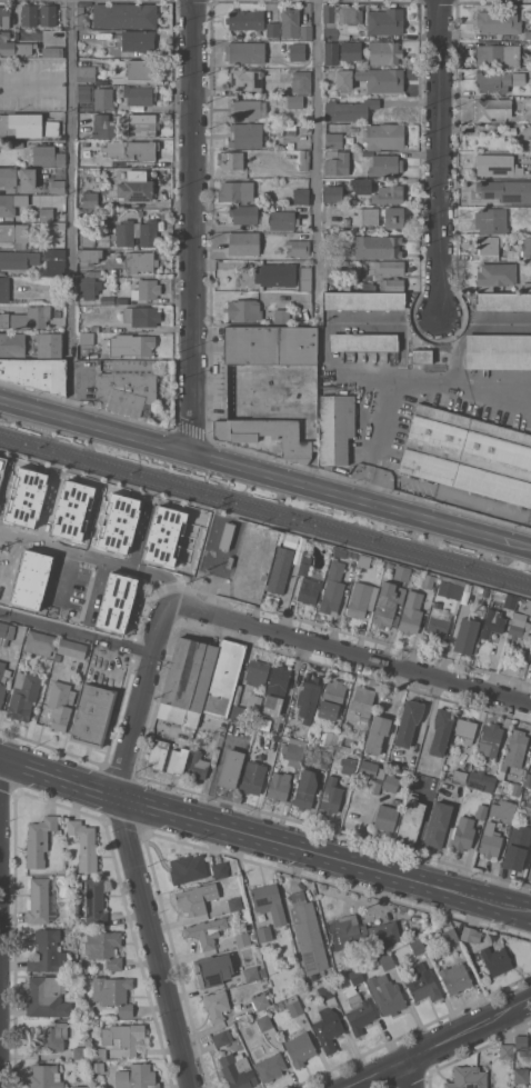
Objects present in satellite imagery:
building: (29, 14)
building: (48, 14)
building: (124, 14)
building: (4, 16)
building: (530, 18)
building: (340, 19)
building: (246, 20)
building: (385, 21)
building: (499, 21)
building: (290, 22)
building: (272, 29)
building: (305, 31)
building: (528, 34)
building: (138, 40)
building: (12, 44)
building: (350, 50)
building: (51, 51)
building: (244, 51)
building: (297, 51)
building: (331, 52)
building: (384, 52)
building: (495, 53)
building: (141, 69)
building: (86, 73)
building: (244, 79)
building: (372, 79)
building: (101, 81)
building: (301, 81)
building: (493, 81)
building: (86, 92)
building: (139, 94)
building: (103, 99)
building: (293, 100)
building: (492, 108)
building: (248, 109)
building: (349, 109)
building: (27, 124)
building: (142, 124)
building: (104, 126)
road: (315, 129)
building: (246, 134)
building: (384, 136)
building: (333, 140)
building: (86, 142)
building: (17, 143)
building: (131, 149)
building: (48, 156)
building: (230, 159)
road: (441, 159)
building: (304, 160)
building: (337, 162)
building: (385, 164)
building: (494, 164)
building: (8, 178)
building: (58, 186)
building: (361, 186)
building: (236, 190)
building: (505, 190)
building: (332, 193)
building: (389, 193)
building: (122, 194)
building: (301, 196)
building: (11, 204)
road: (70, 210)
building: (46, 213)
building: (244, 213)
building: (365, 217)
building: (393, 217)
building: (282, 220)
building: (491, 220)
building: (347, 221)
road: (194, 229)
building: (7, 232)
building: (148, 232)
building: (124, 234)
building: (304, 236)
building: (87, 240)
building: (243, 242)
building: (488, 243)
building: (298, 247)
building: (375, 247)
building: (520, 249)
building: (90, 254)
building: (18, 258)
building: (140, 261)
building: (54, 262)
building: (388, 266)
building: (2, 273)
building: (93, 273)
building: (274, 275)
building: (495, 275)
building: (303, 278)
building: (392, 283)
building: (89, 286)
building: (528, 286)
building: (4, 289)
building: (147, 289)
building: (122, 300)
building: (364, 300)
building: (503, 301)
building: (244, 309)
building: (141, 316)
building: (281, 316)
building: (26, 318)
building: (87, 338)
building: (363, 341)
building: (12, 343)
building: (49, 345)
building: (129, 345)
building: (270, 345)
building: (498, 350)
building: (421, 356)
building: (36, 373)
road: (404, 382)
building: (128, 386)
building: (272, 406)
building: (335, 427)
road: (96, 428)
building: (469, 453)
building: (3, 471)
road: (8, 493)
building: (30, 499)
road: (361, 502)
railway: (265, 506)
road: (53, 508)
building: (77, 511)
railway: (265, 516)
road: (100, 520)
building: (127, 525)
road: (148, 533)
building: (170, 538)
building: (291, 541)
road: (73, 550)
building: (367, 560)
road: (126, 561)
parking lot: (3, 562)
building: (304, 565)
building: (389, 565)
road: (14, 569)
building: (280, 569)
building: (401, 572)
building: (37, 579)
building: (429, 580)
road: (60, 581)
road: (177, 581)
road: (161, 585)
building: (455, 587)
building: (332, 588)
building: (78, 590)
building: (309, 590)
road: (100, 591)
building: (359, 599)
building: (120, 601)
building: (385, 606)
road: (146, 607)
building: (528, 607)
building: (411, 612)
building: (438, 620)
building: (492, 622)
building: (519, 626)
road: (78, 629)
building: (6, 632)
building: (465, 635)
building: (40, 642)
building: (72, 648)
road: (351, 653)
building: (530, 669)
building: (190, 672)
building: (257, 672)
building: (224, 678)
building: (2, 679)
building: (23, 695)
building: (273, 696)
building: (308, 696)
road: (144, 699)
building: (332, 700)
building: (362, 701)
building: (60, 703)
building: (254, 705)
building: (179, 713)
building: (239, 713)
building: (92, 715)
building: (408, 721)
building: (465, 729)
building: (287, 730)
building: (441, 730)
building: (375, 735)
building: (328, 738)
building: (489, 738)
building: (515, 747)
building: (294, 751)
building: (158, 753)
building: (322, 758)
building: (177, 760)
building: (198, 766)
building: (349, 766)
building: (230, 768)
building: (371, 773)
building: (252, 777)
building: (457, 777)
building: (481, 780)
building: (390, 782)
building: (279, 786)
building: (527, 787)
building: (305, 789)
building: (517, 789)
building: (331, 796)
building: (503, 810)
building: (481, 811)
building: (523, 811)
building: (411, 817)
building: (385, 818)
building: (438, 825)
building: (463, 834)
road: (264, 837)
building: (490, 839)
building: (39, 840)
building: (84, 845)
building: (517, 847)
building: (187, 868)
building: (219, 869)
building: (196, 898)
building: (40, 901)
building: (94, 901)
building: (269, 901)
building: (234, 904)
building: (246, 916)
building: (203, 932)
building: (364, 932)
building: (263, 934)
building: (309, 934)
building: (470, 934)
building: (450, 936)
building: (242, 939)
road: (153, 941)
building: (418, 946)
building: (104, 947)
building: (48, 951)
building: (495, 960)
building: (387, 961)
building: (213, 969)
building: (251, 974)
building: (355, 976)
building: (455, 978)
building: (423, 985)
building: (112, 994)
building: (327, 994)
building: (387, 995)
building: (47, 997)
building: (260, 1000)
building: (216, 1005)
building: (294, 1007)
building: (359, 1012)
building: (263, 1021)
building: (328, 1028)
building: (222, 1037)
building: (51, 1038)
building: (119, 1039)
building: (520, 1041)
road: (440, 1046)
building: (300, 1048)
building: (507, 1050)
building: (81, 1051)
building: (98, 1066)
building: (270, 1066)
building: (238, 1070)
road: (411, 1074)
building: (521, 1075)
building: (530, 1076)
building: (46, 1077)
building: (137, 1077)
building: (468, 1077)
building: (82, 1086)

